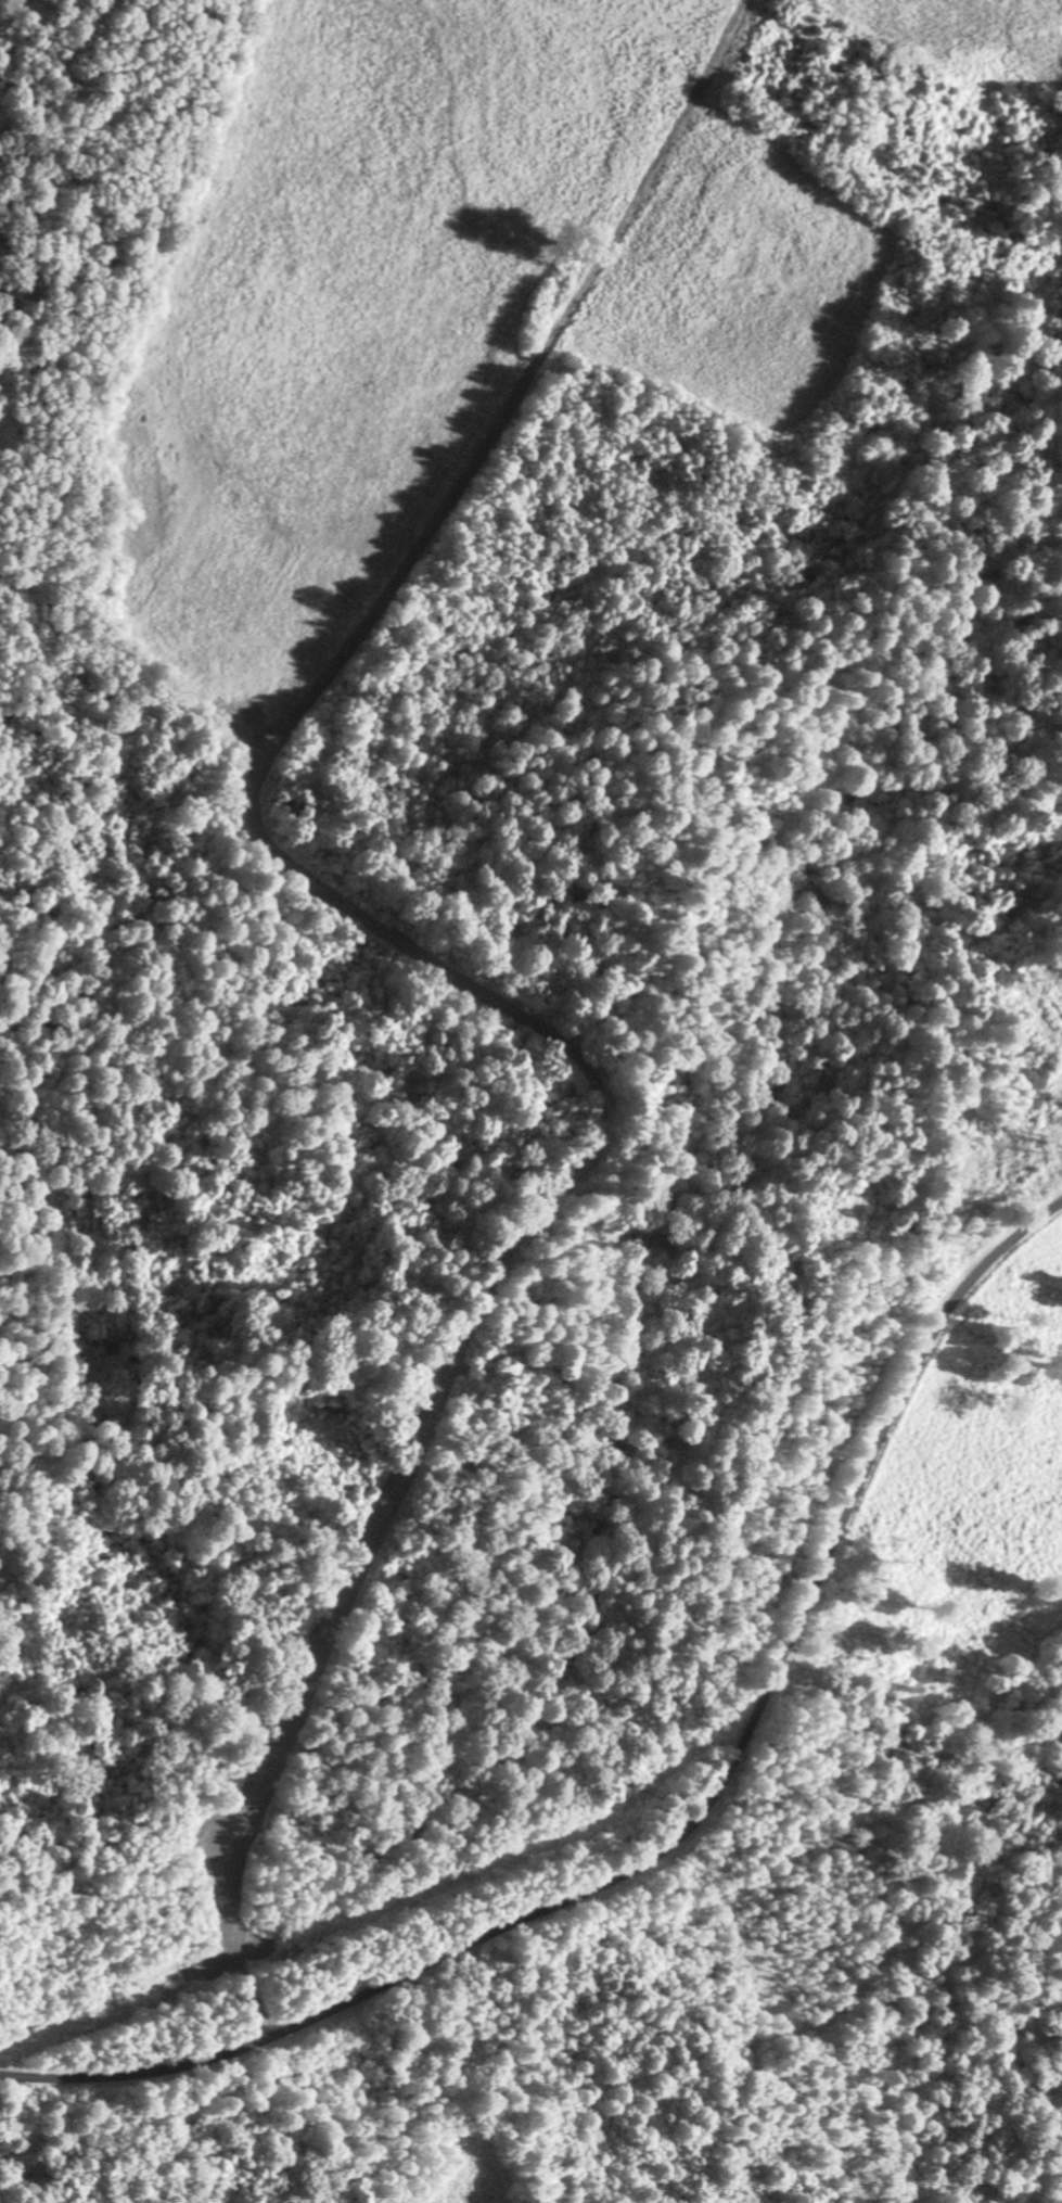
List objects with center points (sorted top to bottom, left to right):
road: (412, 1131)
road: (684, 1833)

